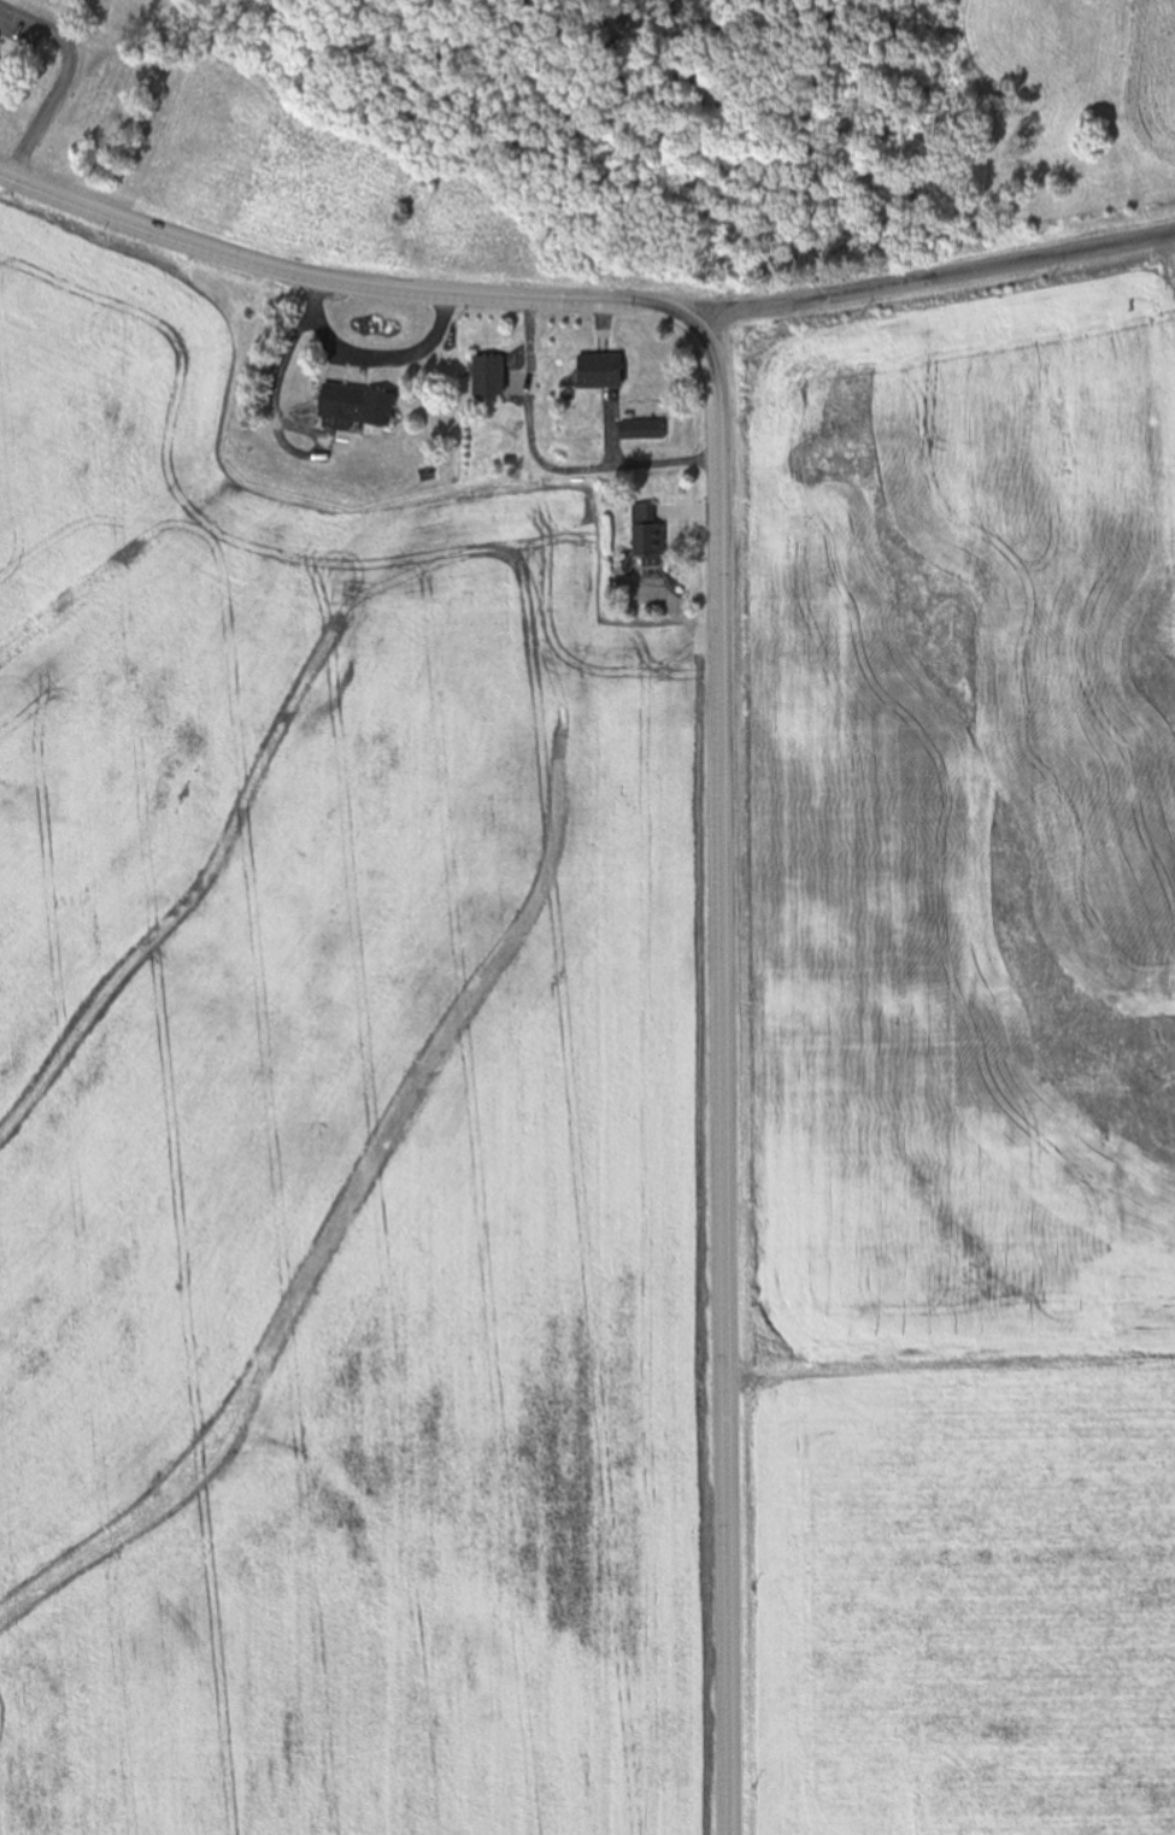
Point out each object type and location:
road: (77, 1)
parking lot: (20, 29)
road: (430, 59)
road: (61, 78)
road: (609, 106)
road: (933, 280)
road: (384, 360)
building: (597, 371)
building: (486, 376)
road: (609, 386)
building: (351, 406)
road: (275, 414)
building: (640, 430)
building: (507, 460)
road: (546, 466)
building: (646, 536)
road: (721, 719)

